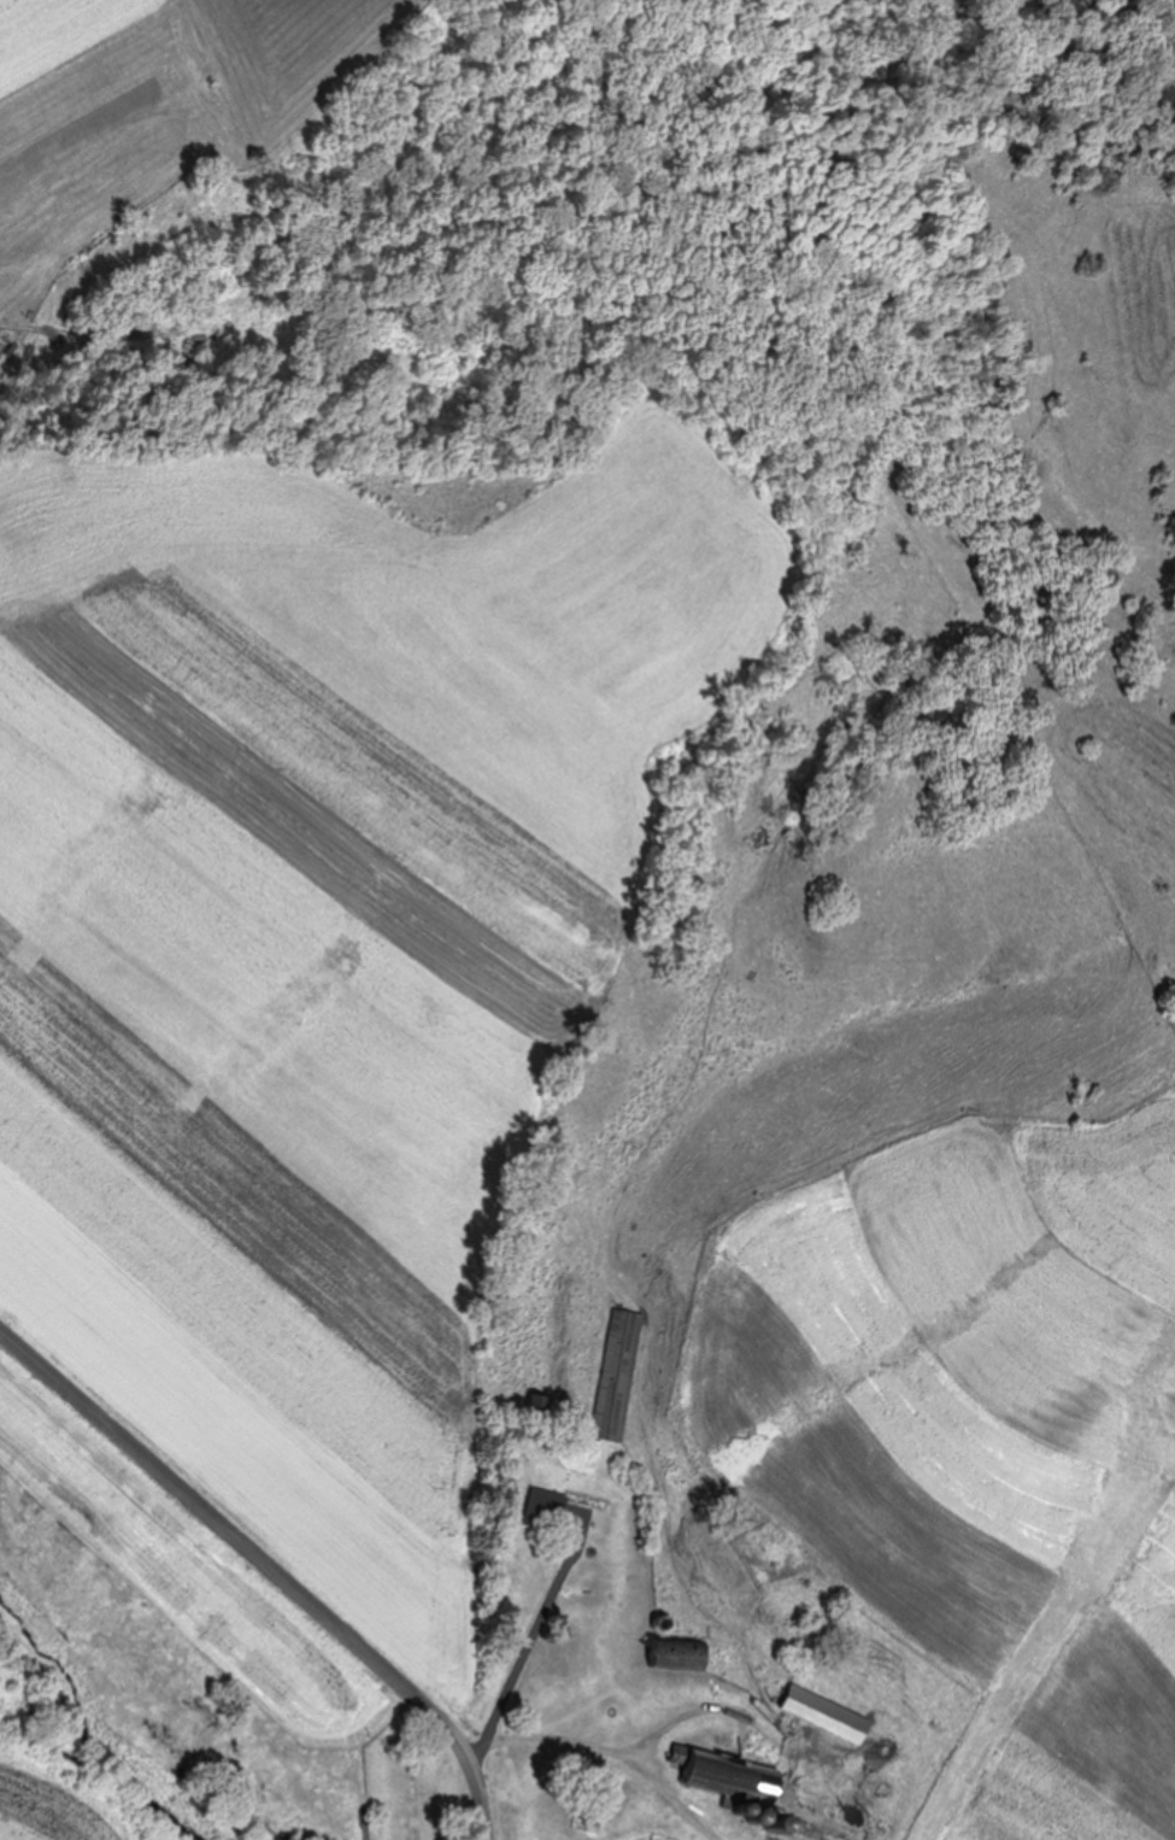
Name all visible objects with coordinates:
building: (615, 1373)
building: (536, 1405)
building: (542, 1508)
road: (275, 1587)
building: (675, 1653)
building: (823, 1711)
building: (710, 1772)

